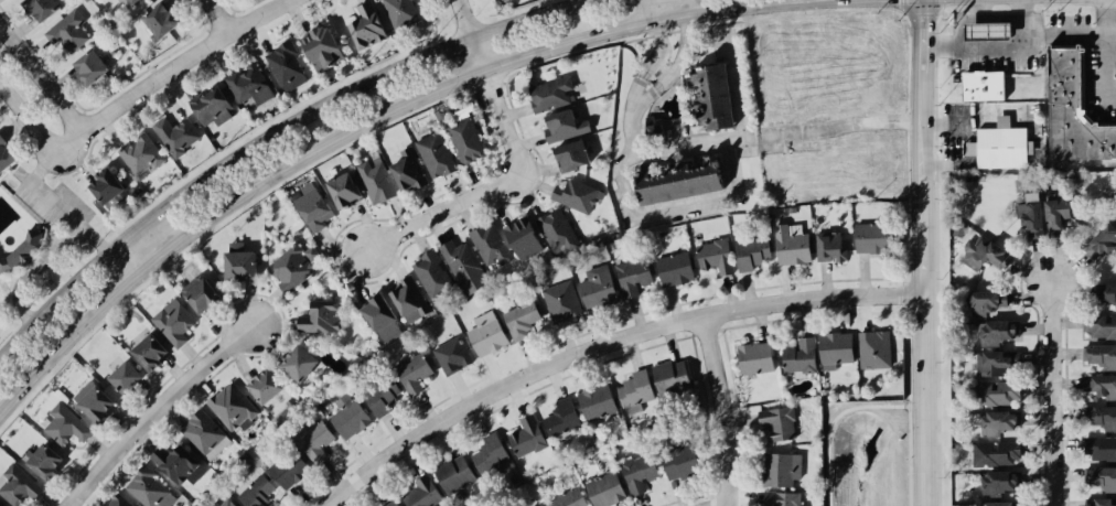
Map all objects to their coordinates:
building: (133, 1)
road: (823, 1)
building: (41, 7)
road: (673, 8)
road: (1005, 11)
building: (401, 12)
road: (223, 14)
road: (1106, 17)
road: (469, 18)
building: (161, 19)
road: (965, 20)
road: (640, 24)
building: (367, 25)
road: (1024, 26)
building: (988, 30)
building: (68, 31)
road: (1019, 43)
building: (322, 47)
road: (661, 47)
road: (481, 54)
road: (680, 54)
road: (176, 65)
building: (90, 66)
building: (287, 66)
road: (659, 71)
road: (1106, 71)
road: (42, 80)
road: (454, 83)
building: (249, 85)
building: (983, 85)
road: (640, 87)
road: (736, 91)
building: (550, 93)
road: (646, 93)
building: (712, 95)
building: (212, 106)
building: (1073, 111)
road: (30, 118)
building: (565, 126)
building: (653, 127)
road: (824, 129)
building: (176, 134)
road: (271, 138)
building: (465, 139)
building: (1000, 146)
building: (141, 154)
building: (436, 154)
building: (572, 154)
building: (6, 155)
road: (286, 166)
building: (408, 170)
building: (376, 180)
building: (678, 181)
building: (106, 185)
road: (730, 185)
road: (493, 186)
building: (344, 190)
road: (39, 191)
building: (576, 195)
building: (313, 208)
building: (1055, 213)
building: (1031, 214)
building: (557, 230)
building: (871, 237)
building: (523, 238)
road: (150, 241)
building: (1102, 241)
building: (792, 244)
building: (491, 245)
building: (830, 247)
building: (751, 252)
road: (923, 252)
building: (985, 254)
building: (715, 256)
road: (45, 258)
road: (127, 259)
building: (239, 262)
building: (292, 266)
building: (464, 266)
building: (675, 268)
building: (431, 274)
building: (633, 276)
road: (130, 280)
building: (598, 288)
building: (1106, 292)
building: (200, 293)
building: (409, 299)
building: (562, 301)
building: (987, 301)
building: (321, 316)
building: (382, 319)
building: (522, 320)
building: (173, 322)
building: (1099, 325)
building: (999, 331)
building: (486, 333)
road: (603, 341)
building: (835, 348)
building: (874, 348)
building: (150, 352)
building: (452, 355)
building: (801, 356)
building: (1102, 356)
building: (755, 357)
road: (50, 360)
building: (996, 362)
building: (299, 363)
building: (412, 372)
building: (126, 376)
building: (672, 376)
building: (1101, 385)
building: (265, 386)
building: (635, 390)
building: (996, 392)
road: (1053, 395)
building: (382, 397)
building: (94, 400)
building: (597, 401)
building: (233, 407)
road: (153, 408)
road: (723, 408)
building: (348, 416)
building: (1102, 416)
building: (561, 418)
building: (779, 422)
building: (999, 422)
building: (64, 423)
building: (204, 434)
building: (527, 437)
building: (314, 440)
building: (1099, 448)
building: (997, 452)
building: (490, 455)
building: (45, 460)
building: (679, 461)
building: (179, 464)
building: (289, 467)
building: (782, 469)
building: (639, 472)
building: (454, 473)
building: (1103, 477)
building: (999, 482)
building: (18, 484)
building: (149, 488)
building: (605, 489)
building: (256, 492)
building: (422, 493)
building: (569, 498)
building: (782, 498)
building: (118, 500)
building: (1099, 502)
building: (224, 503)
building: (393, 503)
building: (1001, 503)
road: (720, 504)
building: (540, 505)

